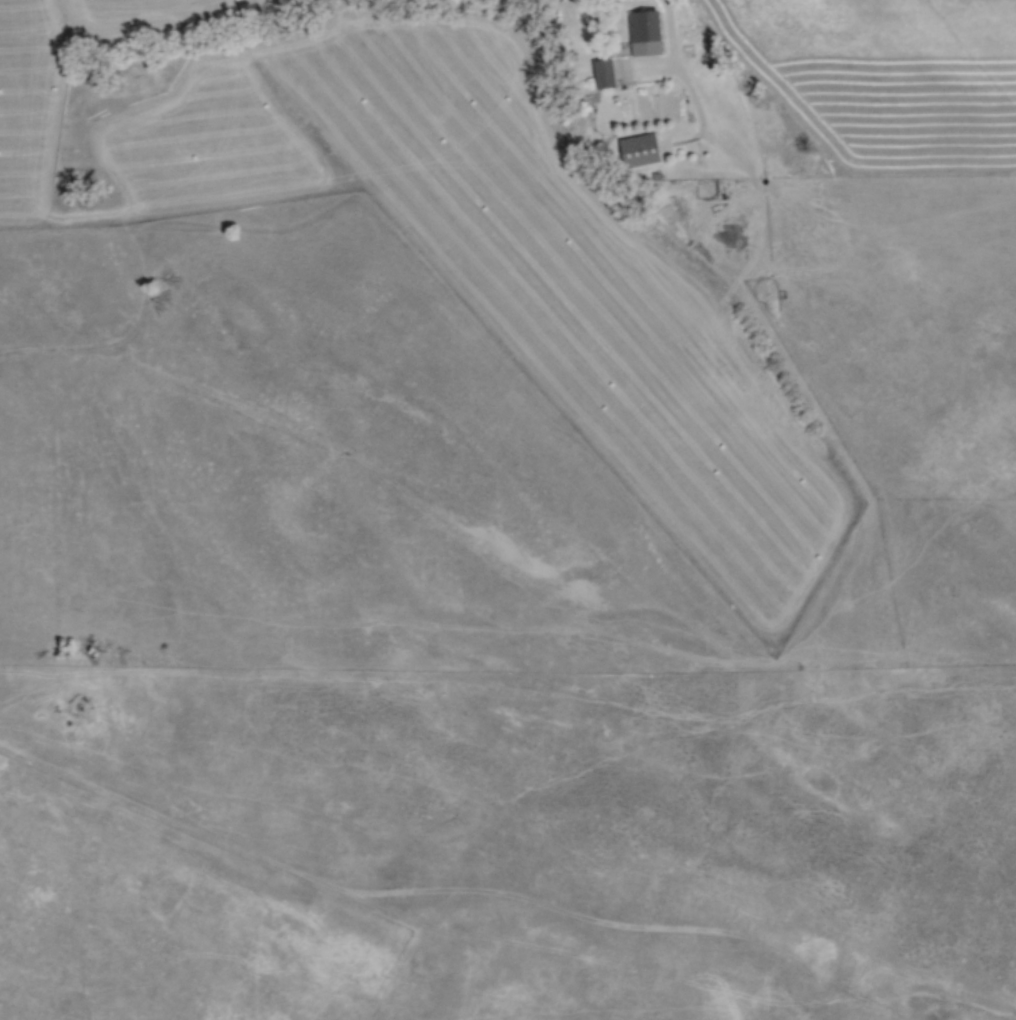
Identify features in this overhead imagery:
road: (671, 18)
building: (644, 32)
building: (602, 72)
building: (638, 149)

